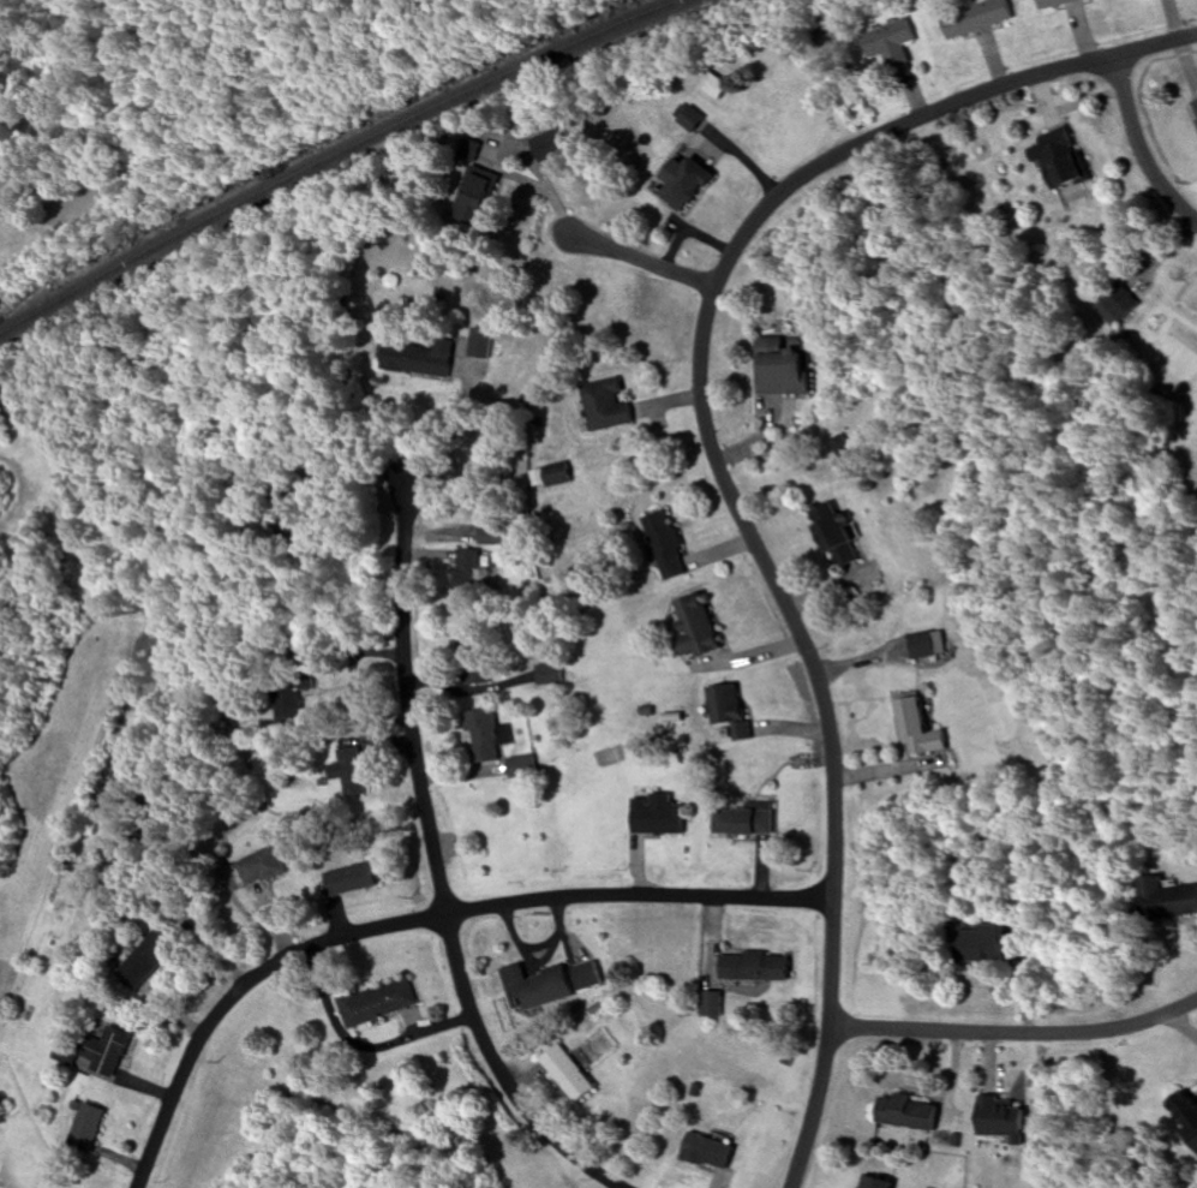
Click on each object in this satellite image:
building: (1054, 2)
building: (976, 18)
building: (890, 44)
building: (714, 86)
building: (1195, 107)
building: (689, 118)
road: (1143, 145)
railway: (339, 154)
building: (1061, 157)
building: (684, 183)
building: (473, 192)
road: (650, 262)
building: (1115, 305)
road: (708, 326)
building: (417, 358)
building: (785, 369)
building: (608, 406)
building: (551, 477)
building: (492, 536)
building: (837, 536)
building: (666, 547)
building: (466, 572)
building: (698, 627)
building: (928, 645)
building: (477, 670)
building: (550, 675)
building: (291, 697)
building: (725, 705)
building: (918, 726)
building: (485, 736)
building: (521, 768)
building: (348, 772)
building: (659, 816)
building: (744, 820)
road: (62, 836)
road: (439, 866)
building: (261, 867)
building: (351, 879)
building: (1167, 900)
road: (420, 920)
building: (984, 944)
building: (149, 960)
building: (755, 967)
building: (586, 977)
building: (535, 987)
building: (377, 1004)
building: (711, 1004)
road: (1016, 1033)
road: (828, 1044)
building: (107, 1051)
building: (568, 1075)
building: (909, 1114)
building: (1185, 1116)
building: (1003, 1120)
building: (86, 1128)
building: (707, 1152)
building: (875, 1183)

